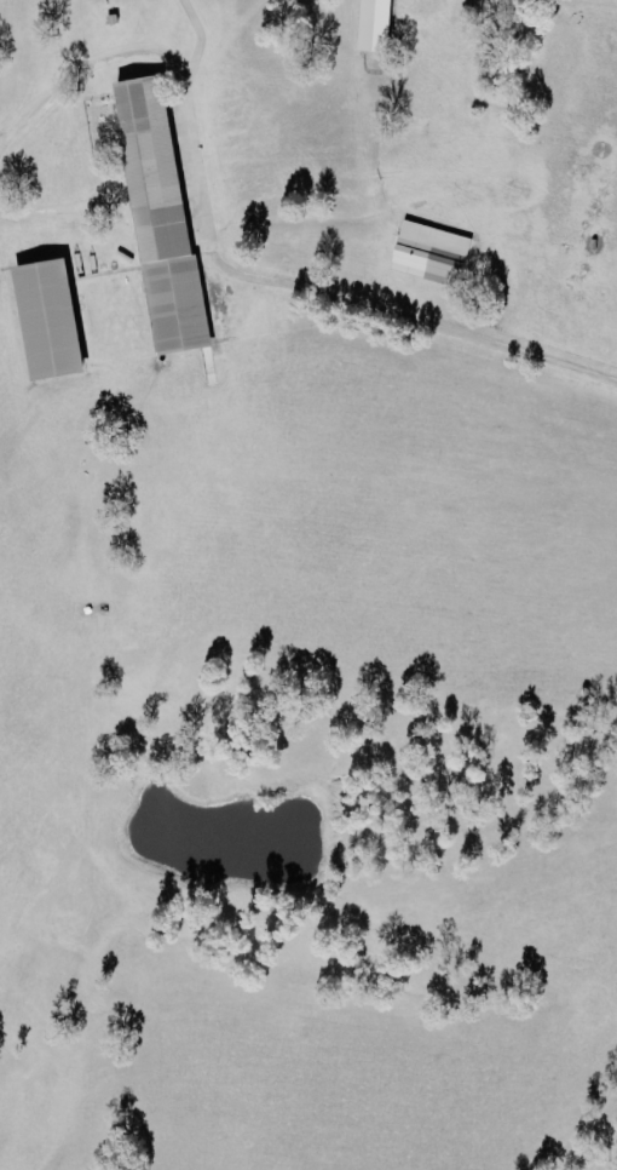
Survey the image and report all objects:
building: (368, 24)
building: (154, 219)
building: (429, 236)
building: (415, 263)
building: (40, 317)

